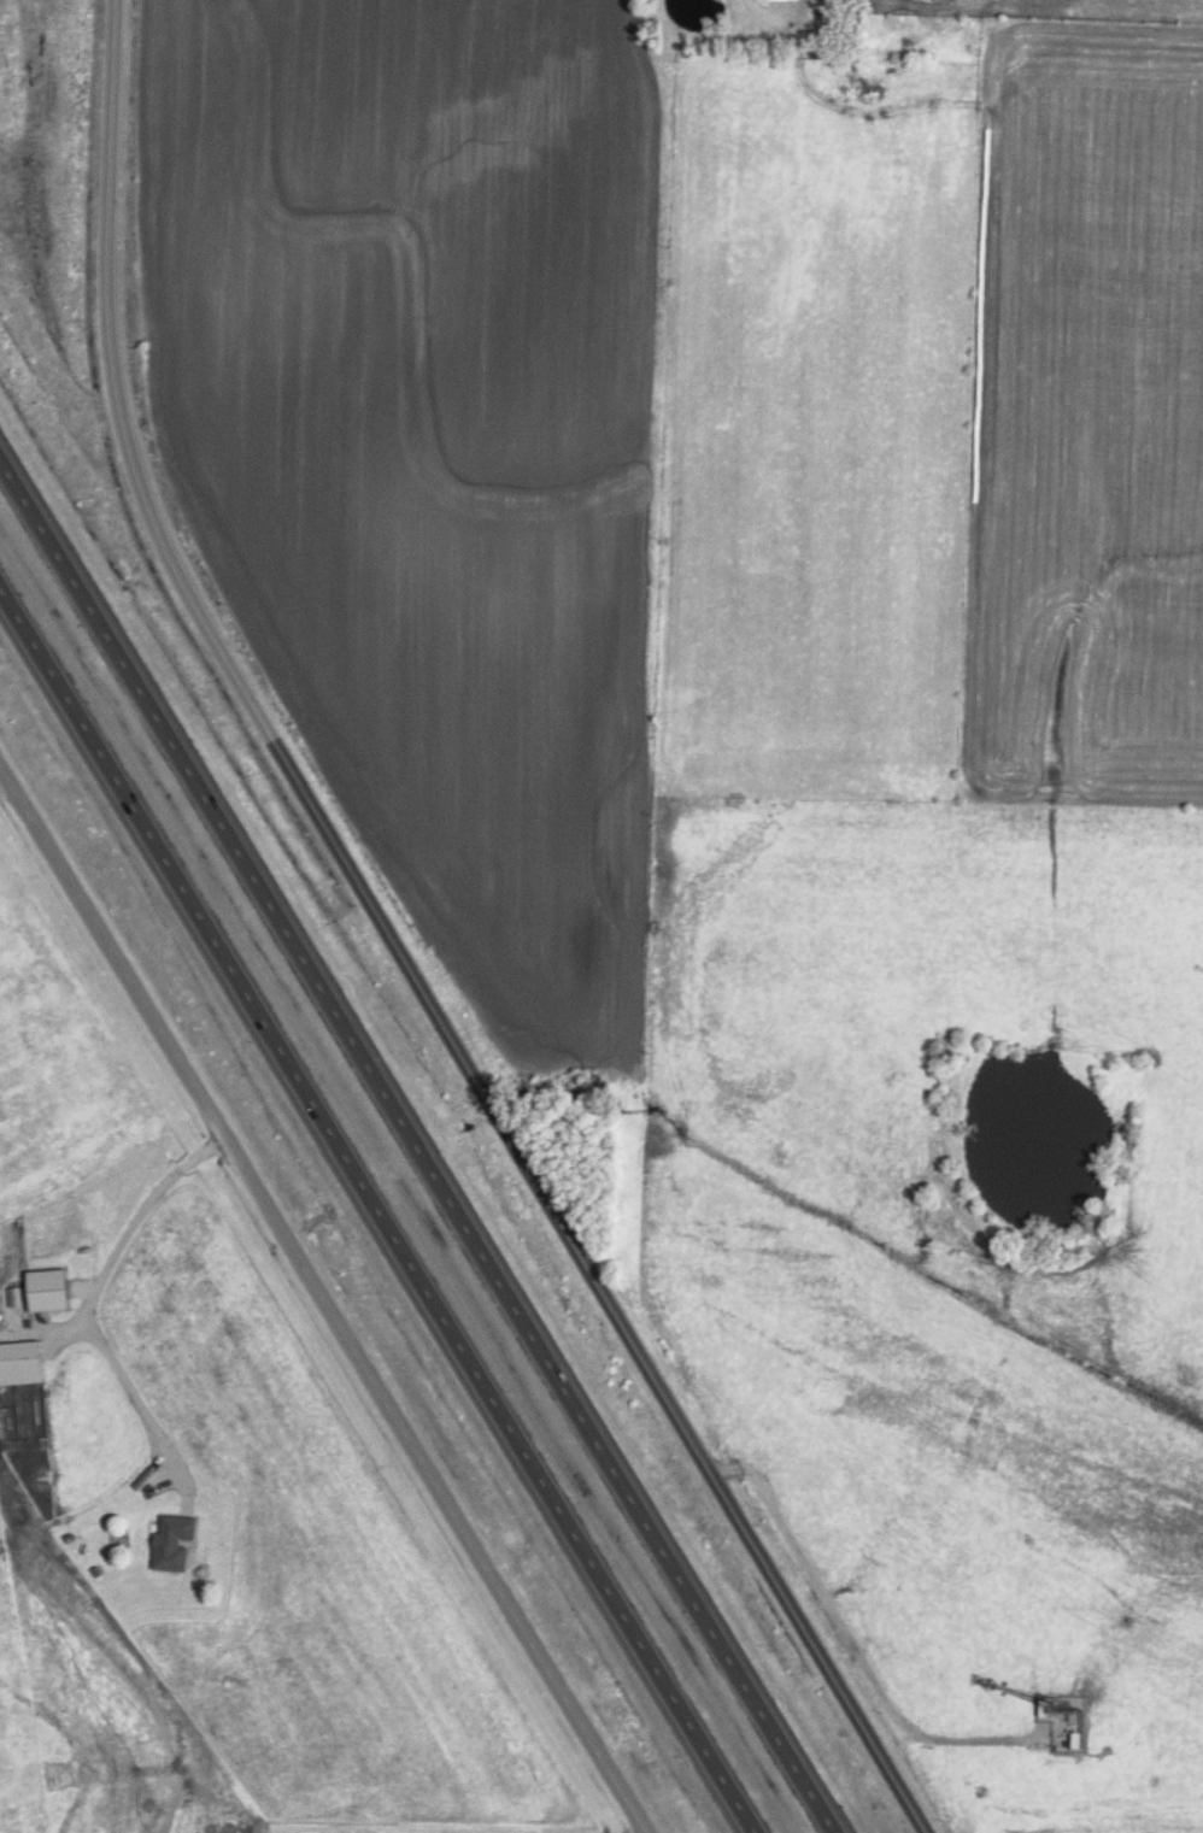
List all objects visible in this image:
road: (399, 948)
road: (419, 1146)
road: (377, 1211)
building: (51, 1289)
road: (92, 1297)
road: (322, 1300)
building: (23, 1363)
building: (116, 1538)
building: (175, 1543)

